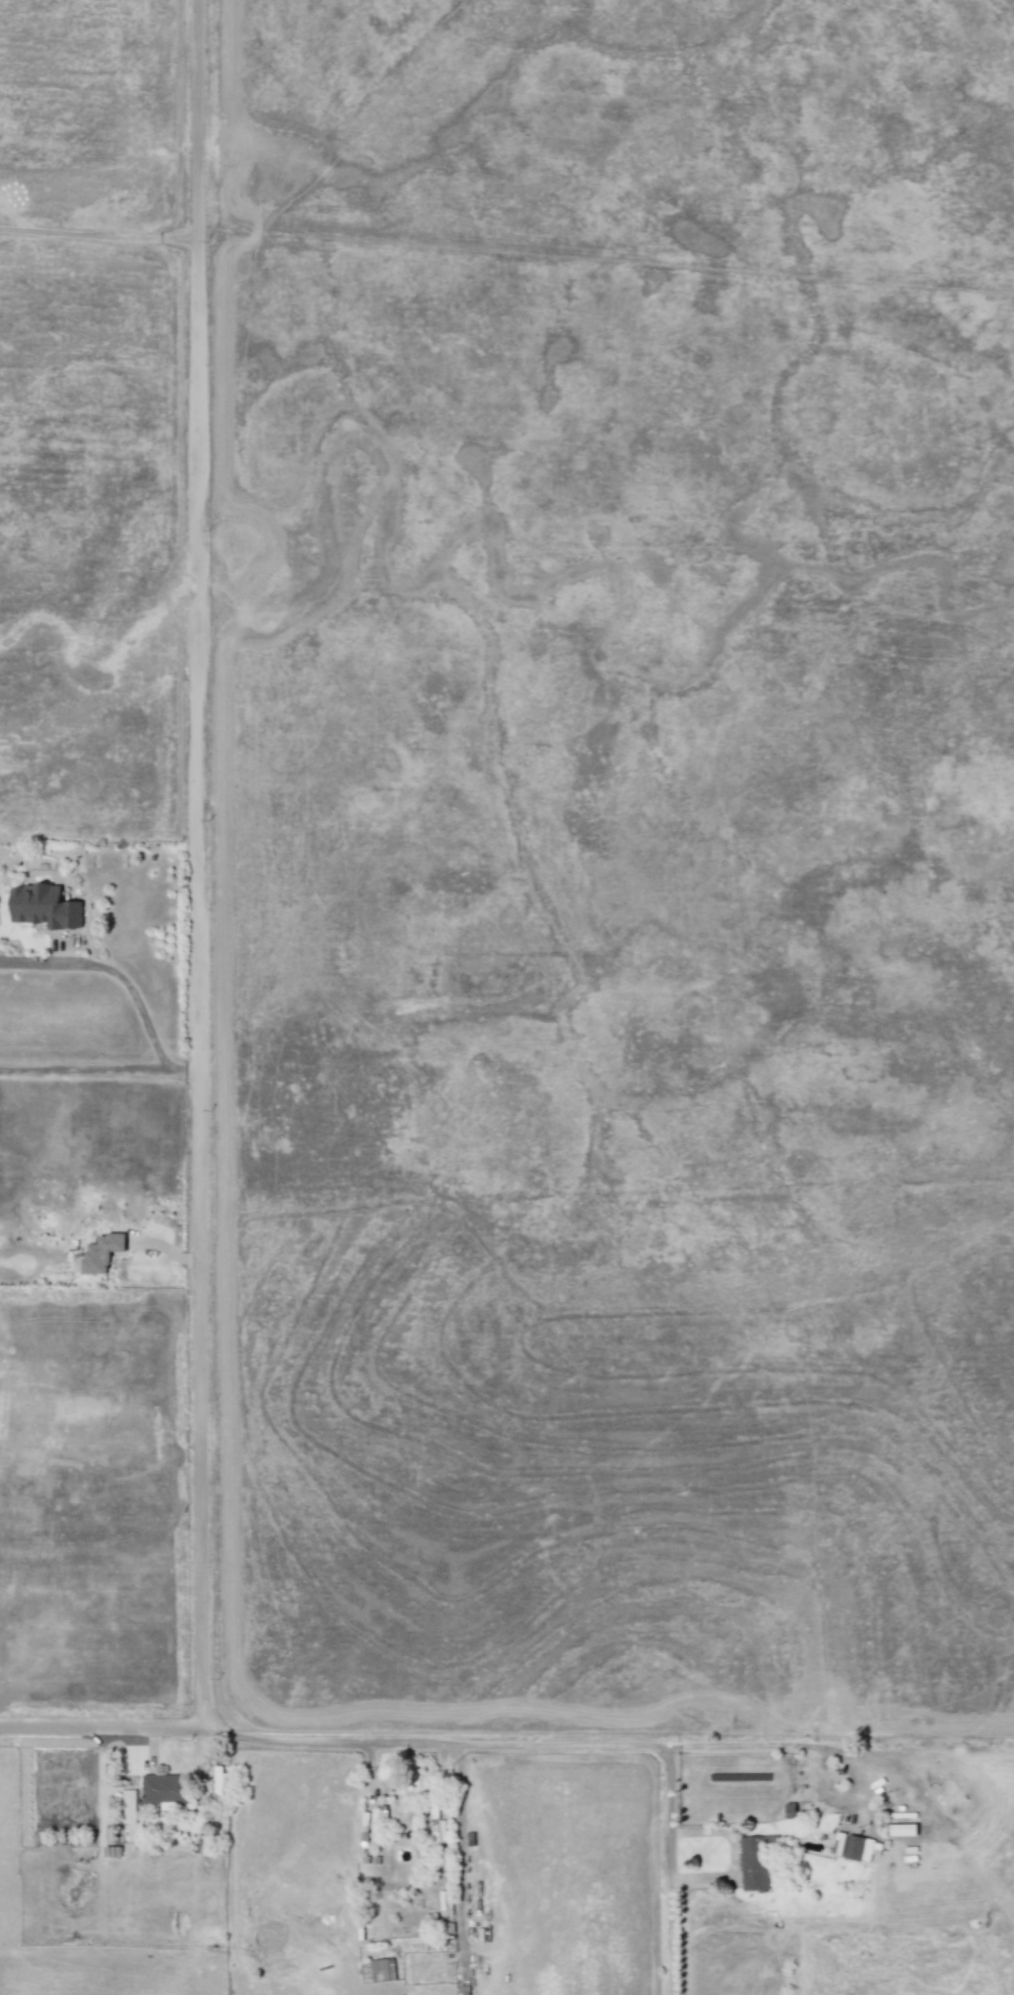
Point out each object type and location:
road: (195, 120)
road: (97, 236)
road: (198, 456)
road: (196, 873)
road: (113, 973)
road: (98, 1071)
building: (98, 1254)
road: (198, 1402)
road: (101, 1730)
road: (323, 1744)
road: (801, 1744)
road: (665, 1764)
building: (218, 1780)
building: (164, 1789)
building: (126, 1806)
building: (789, 1810)
building: (434, 1827)
building: (903, 1830)
building: (838, 1844)
building: (858, 1847)
road: (727, 1852)
road: (459, 1853)
building: (755, 1861)
building: (382, 1970)

